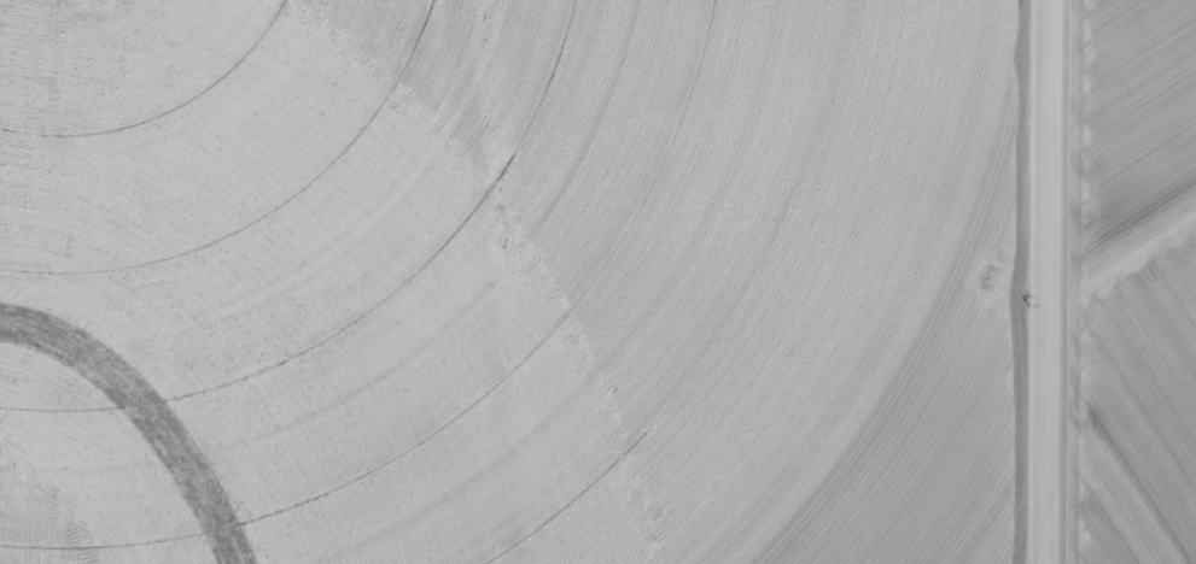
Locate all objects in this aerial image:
road: (1027, 282)

